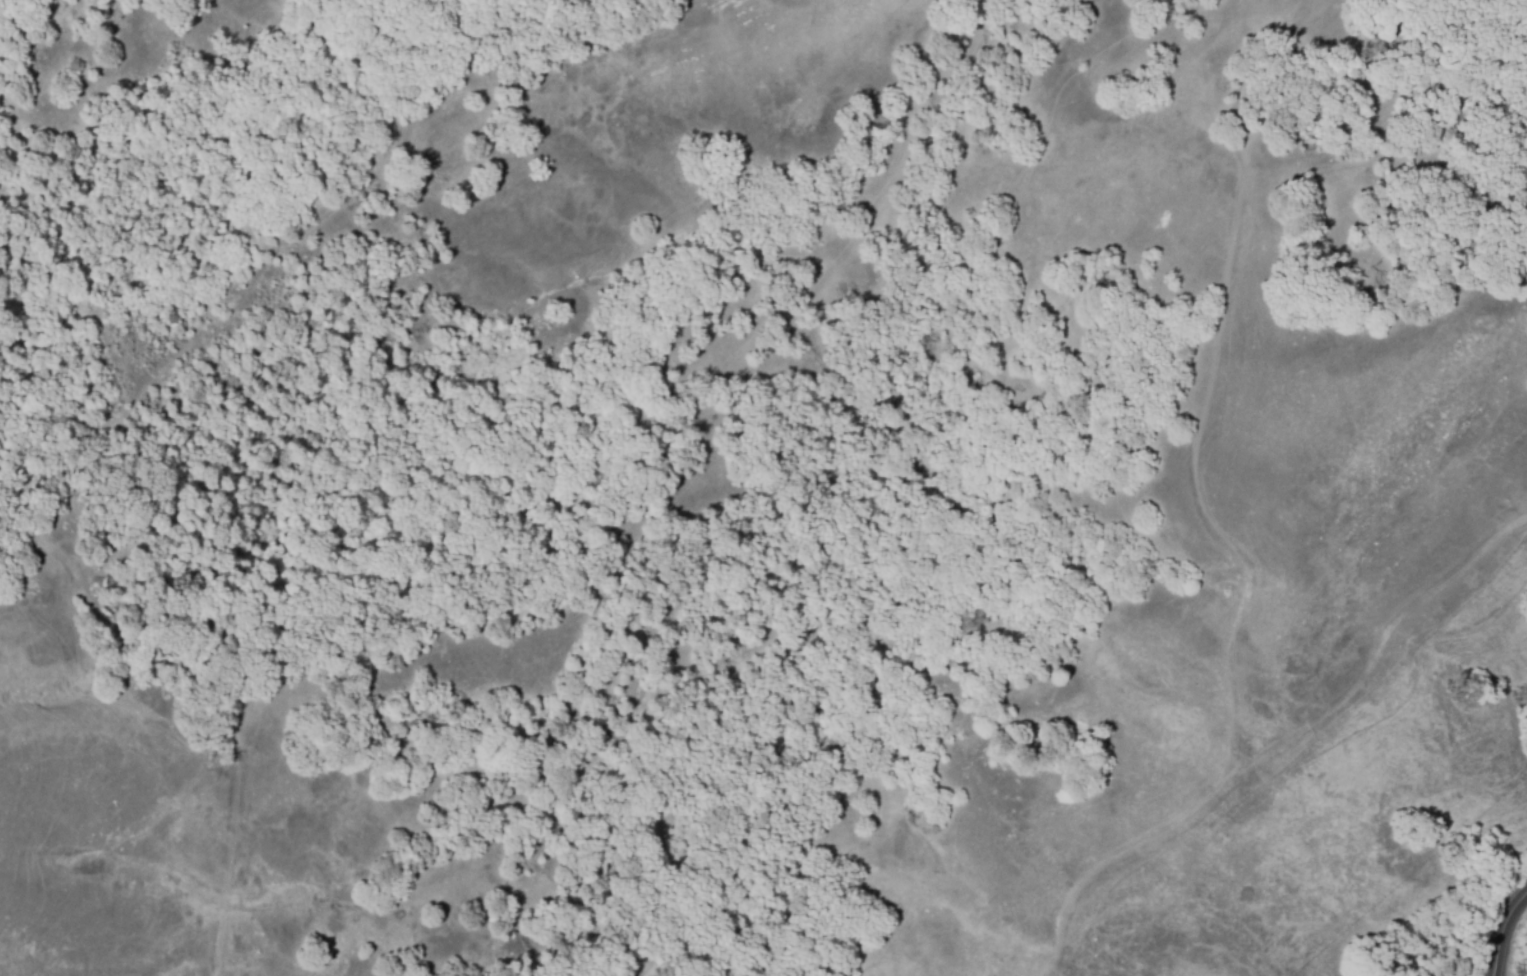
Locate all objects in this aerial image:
road: (1514, 937)

